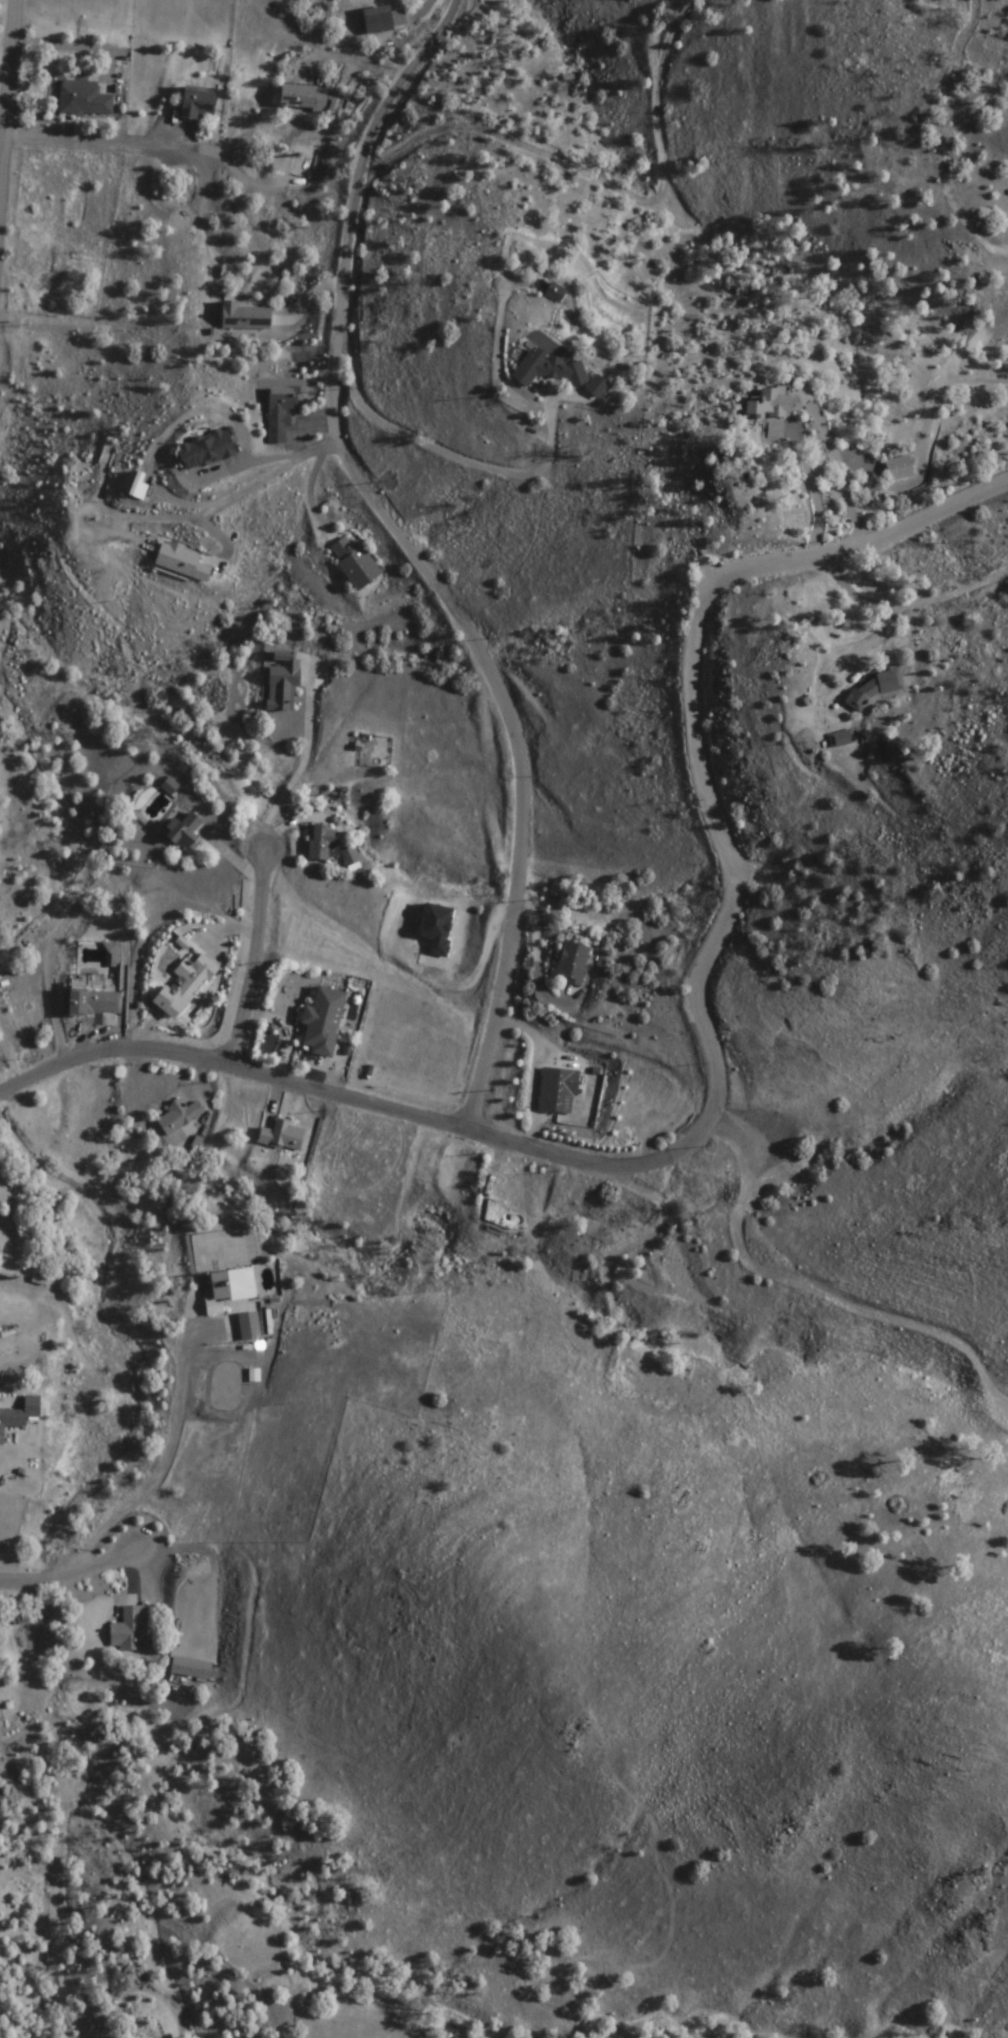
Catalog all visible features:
building: (378, 19)
building: (305, 97)
building: (84, 99)
building: (199, 102)
road: (13, 109)
road: (150, 145)
building: (48, 267)
building: (555, 292)
building: (245, 316)
road: (98, 365)
building: (549, 368)
building: (597, 386)
building: (772, 403)
building: (281, 413)
building: (777, 430)
building: (207, 449)
building: (899, 468)
building: (88, 475)
building: (181, 561)
building: (356, 563)
road: (446, 595)
building: (284, 681)
building: (843, 738)
building: (186, 834)
building: (322, 842)
building: (437, 928)
road: (260, 963)
building: (573, 964)
building: (185, 986)
building: (93, 1003)
building: (324, 1021)
road: (720, 1064)
building: (558, 1090)
building: (180, 1118)
building: (283, 1136)
building: (520, 1194)
building: (231, 1291)
building: (19, 1415)
road: (156, 1485)
road: (8, 1577)
road: (12, 1597)
building: (131, 1629)
building: (192, 1668)
road: (94, 1766)

